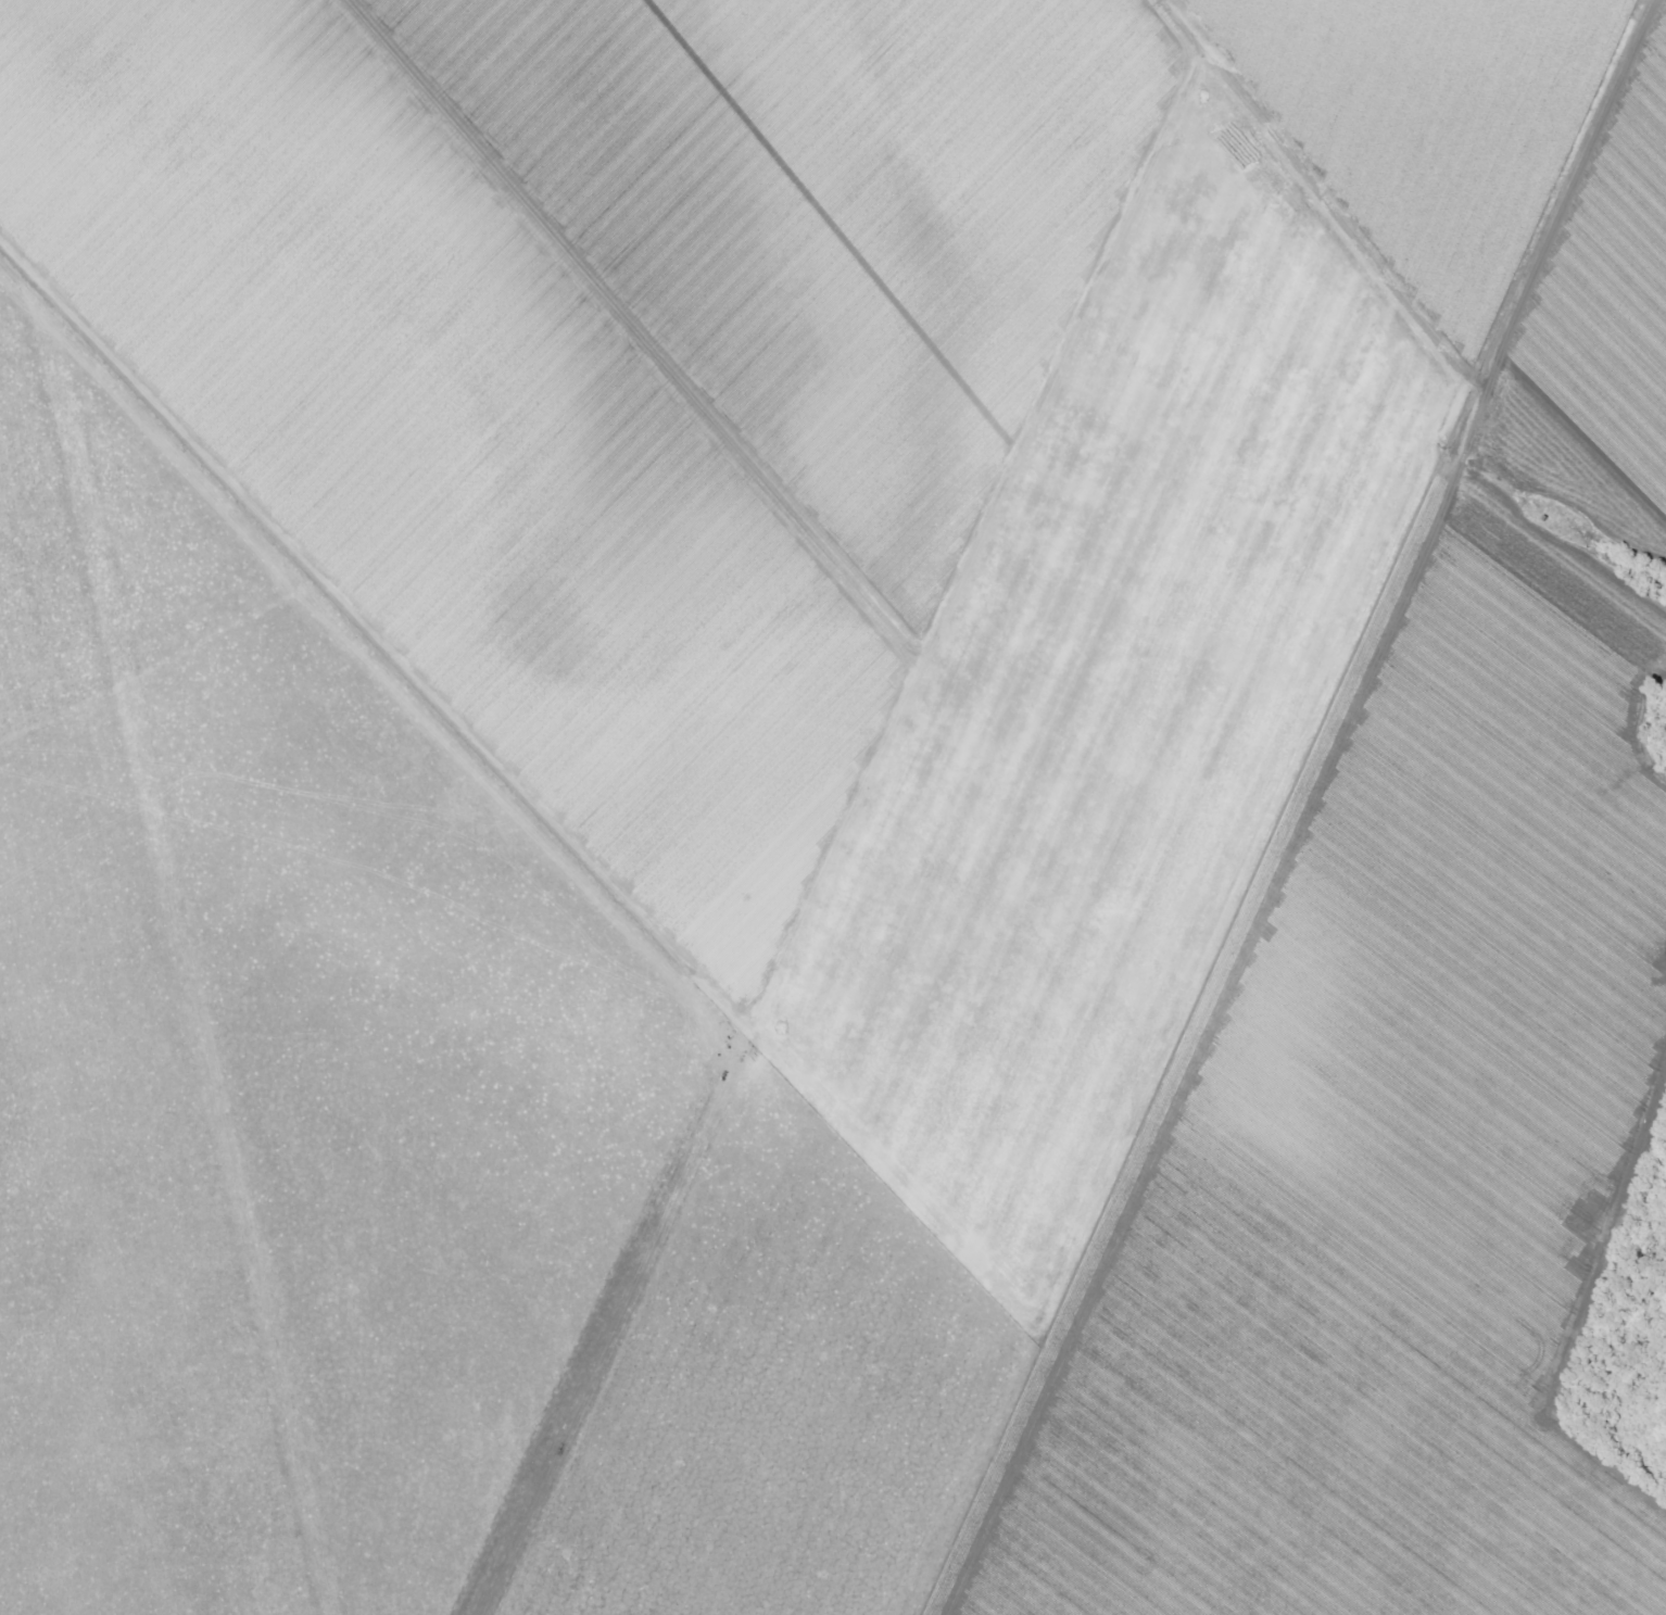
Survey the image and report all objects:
road: (1181, 21)

